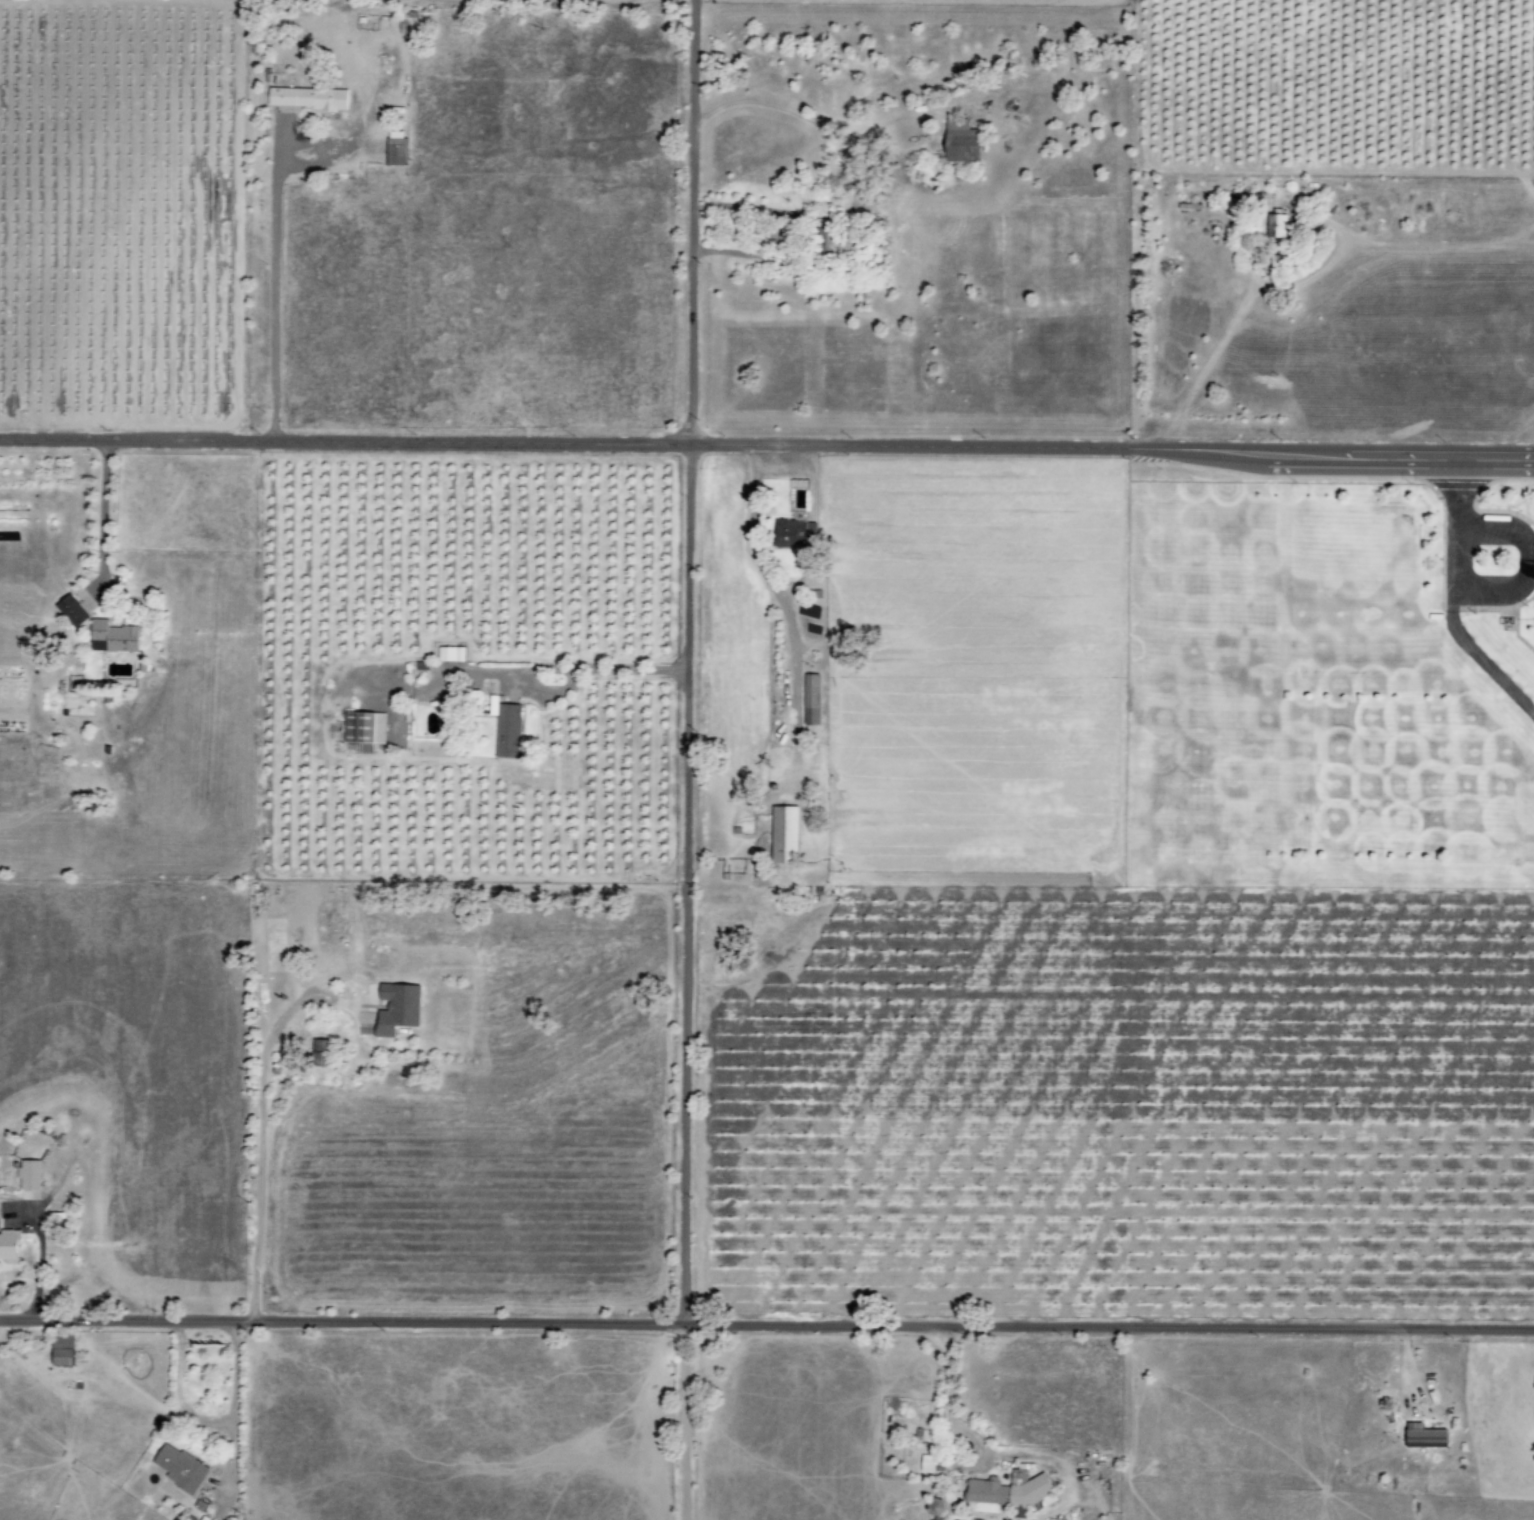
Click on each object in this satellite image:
building: (308, 98)
building: (962, 141)
building: (397, 148)
crop: (124, 214)
building: (1272, 225)
building: (836, 243)
road: (272, 289)
road: (767, 440)
road: (100, 511)
building: (796, 534)
building: (72, 611)
building: (113, 637)
building: (451, 654)
building: (812, 700)
building: (491, 705)
building: (364, 730)
building: (508, 731)
road: (679, 760)
building: (779, 833)
building: (392, 1007)
building: (313, 1052)
crop: (1115, 1100)
road: (258, 1138)
building: (30, 1174)
building: (10, 1246)
road: (39, 1251)
road: (766, 1323)
building: (63, 1349)
road: (208, 1426)
building: (1421, 1438)
building: (924, 1462)
building: (180, 1468)

